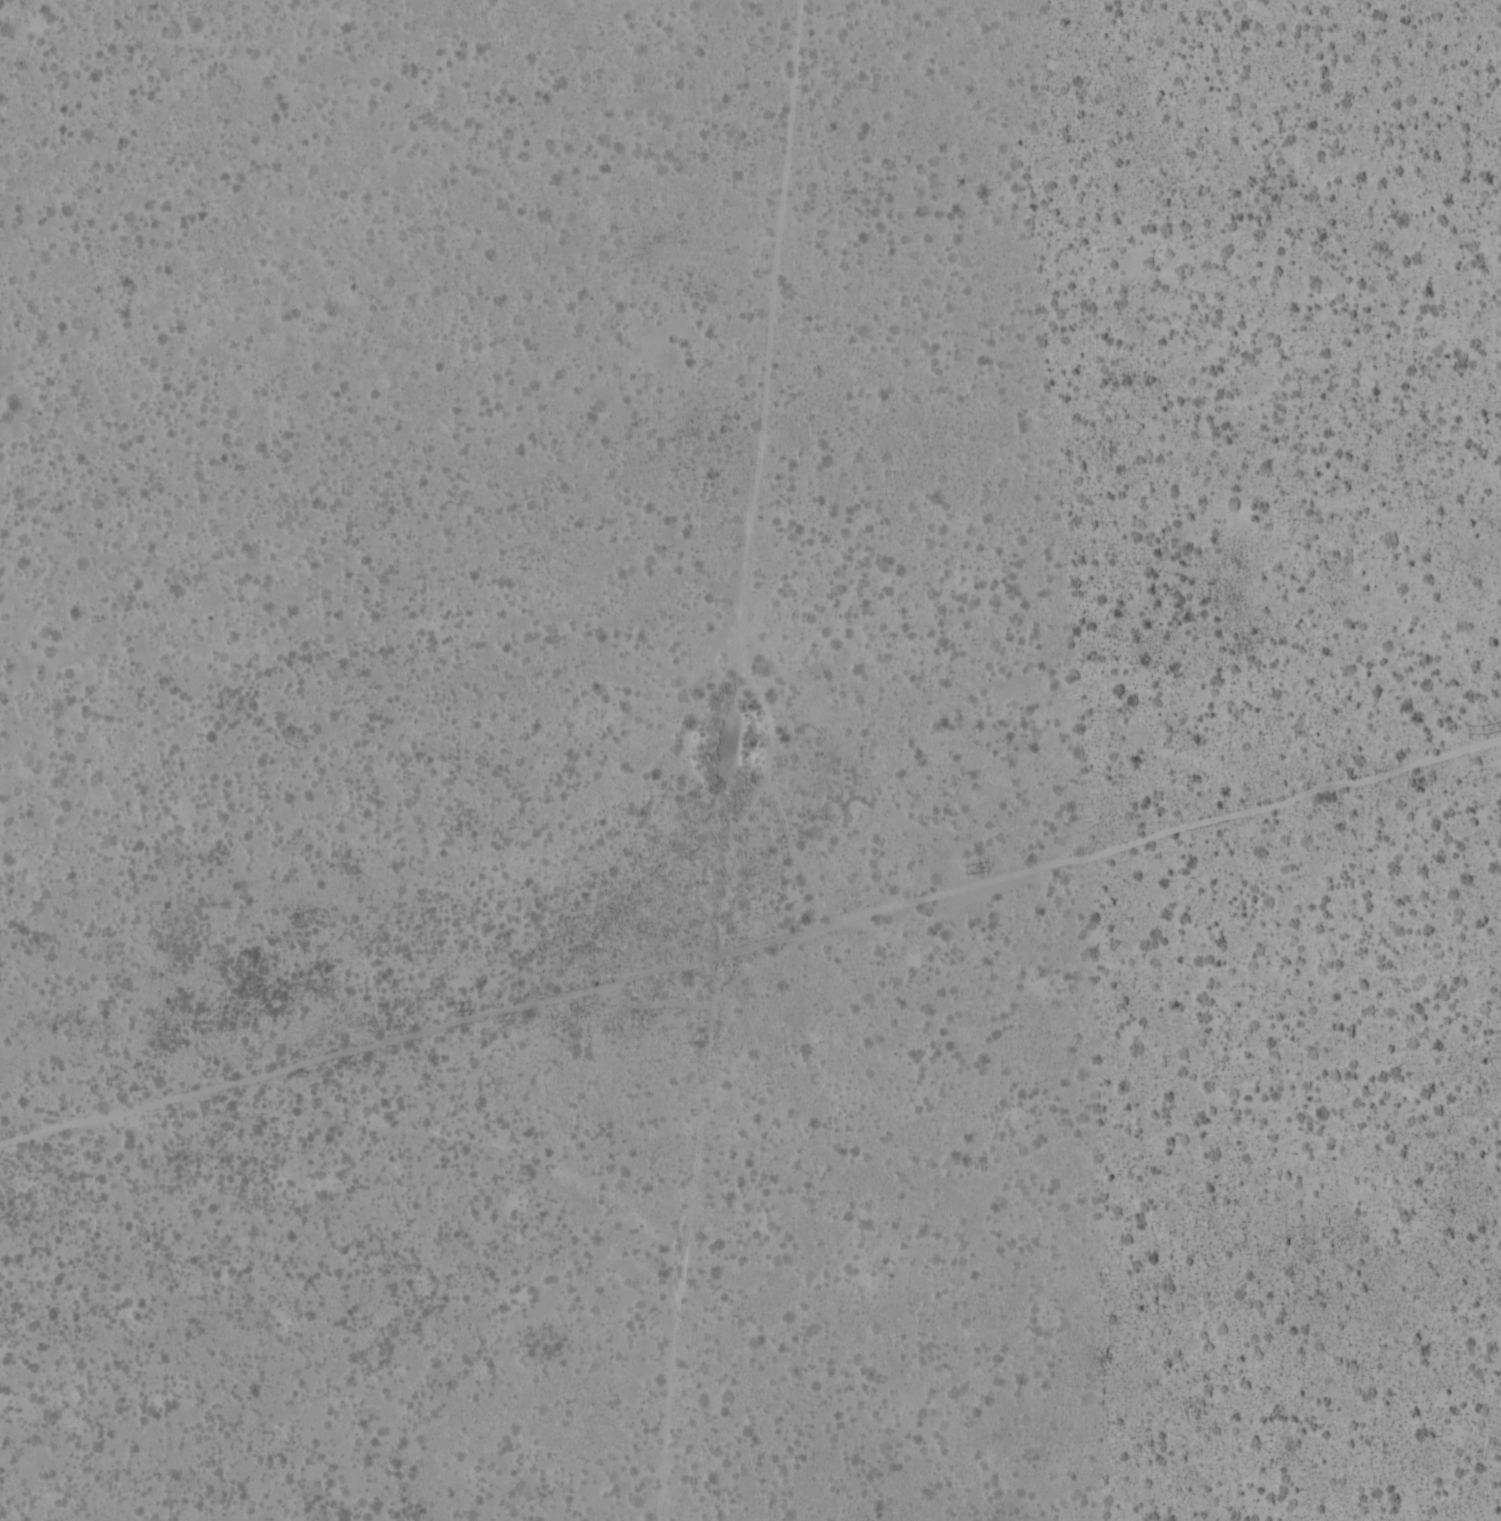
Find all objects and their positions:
power tower: (1484, 731)
road: (729, 759)
power tower: (969, 870)
road: (751, 977)
power tower: (445, 1009)

